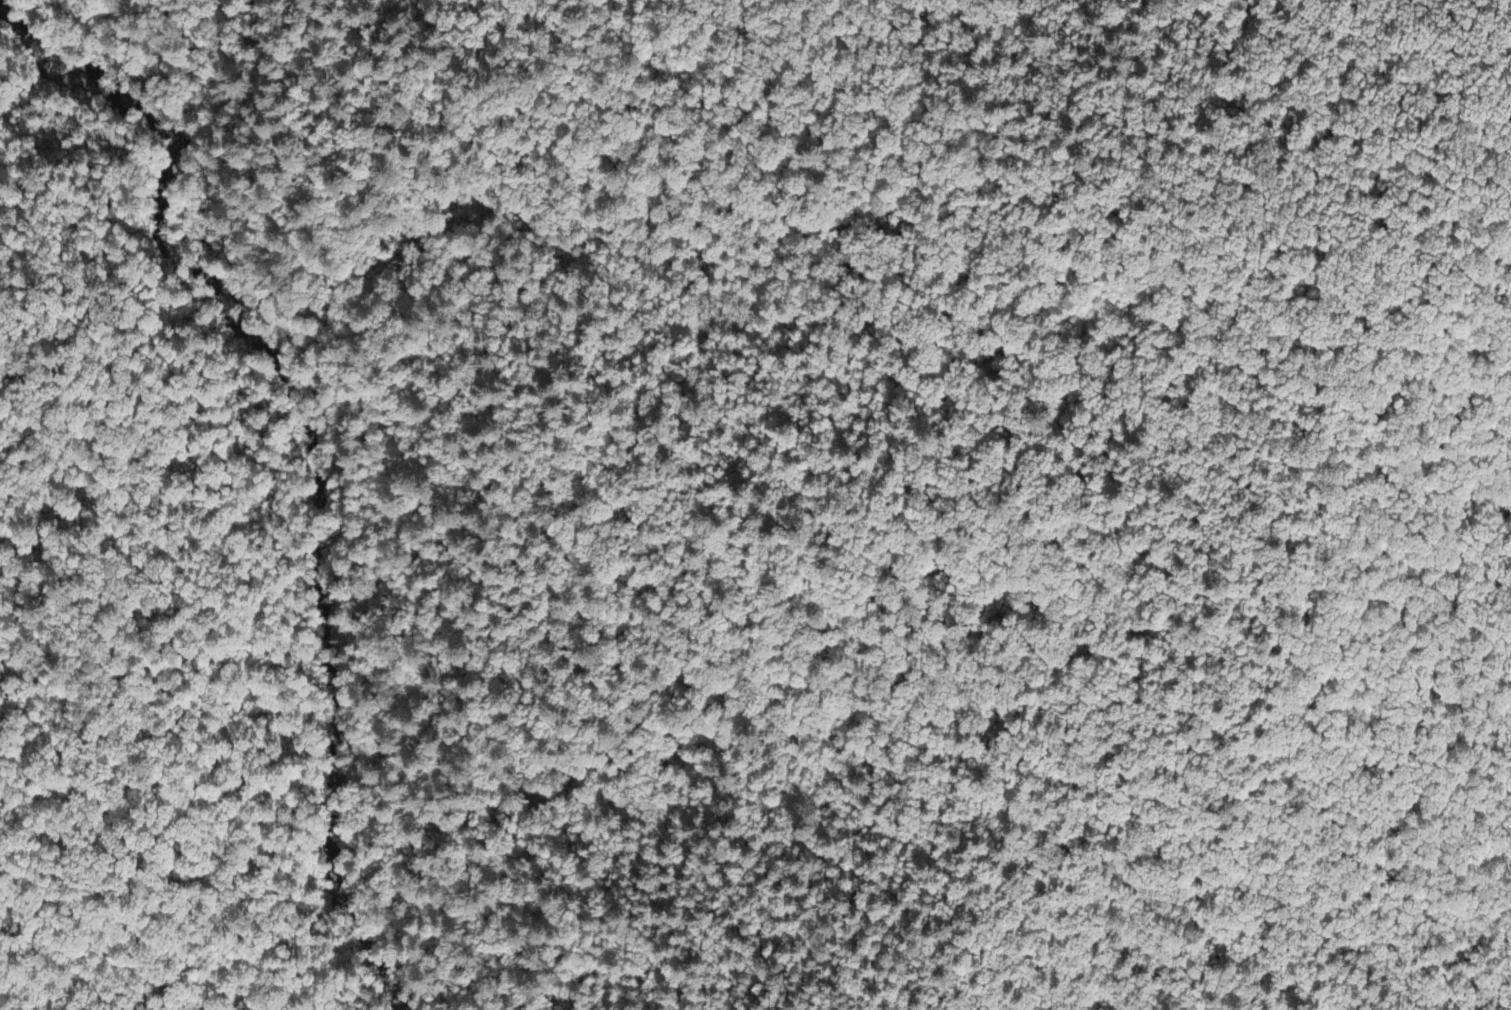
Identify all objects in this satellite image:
road: (42, 122)
road: (26, 332)
river: (315, 441)
road: (200, 555)

